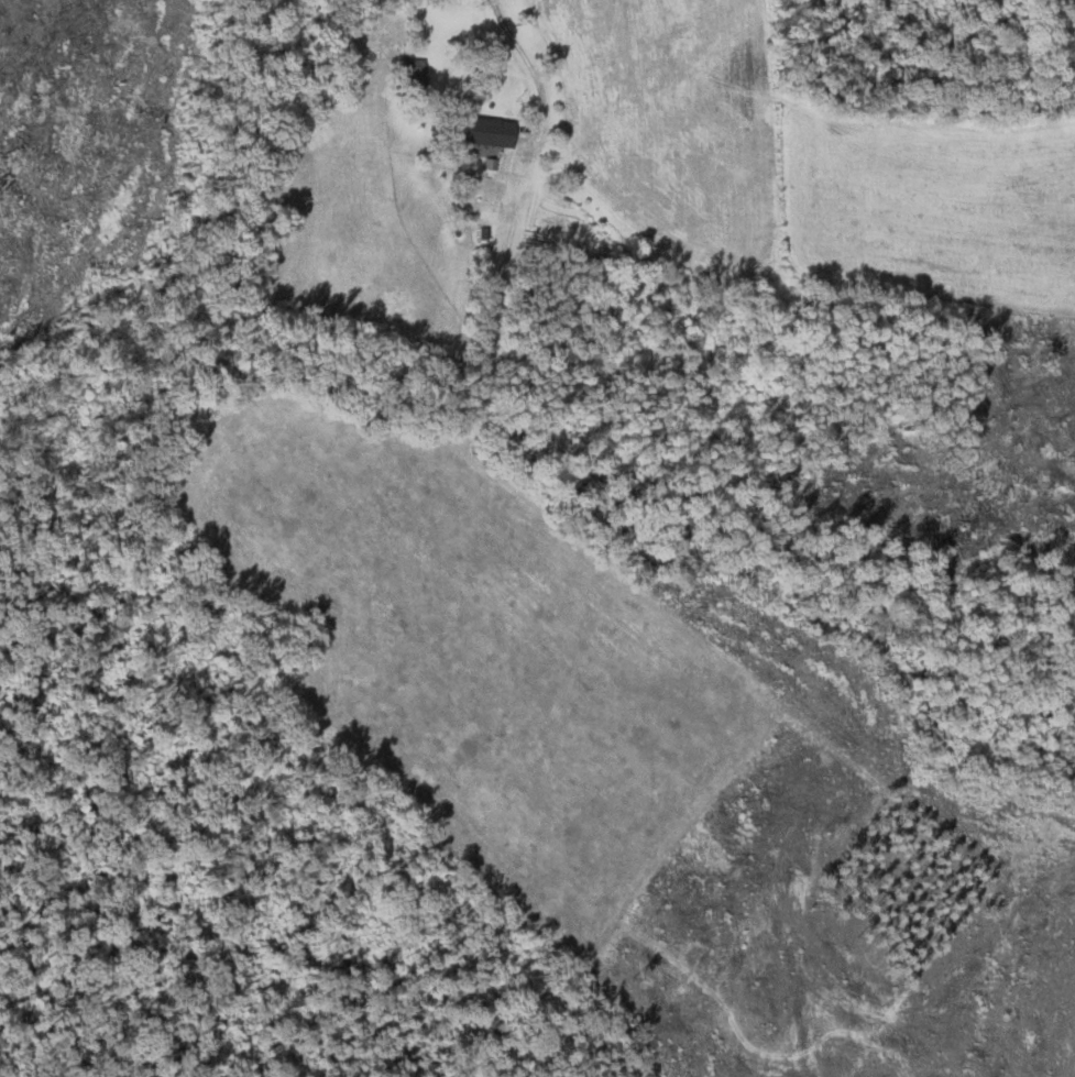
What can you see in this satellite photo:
building: (410, 73)
building: (486, 132)

